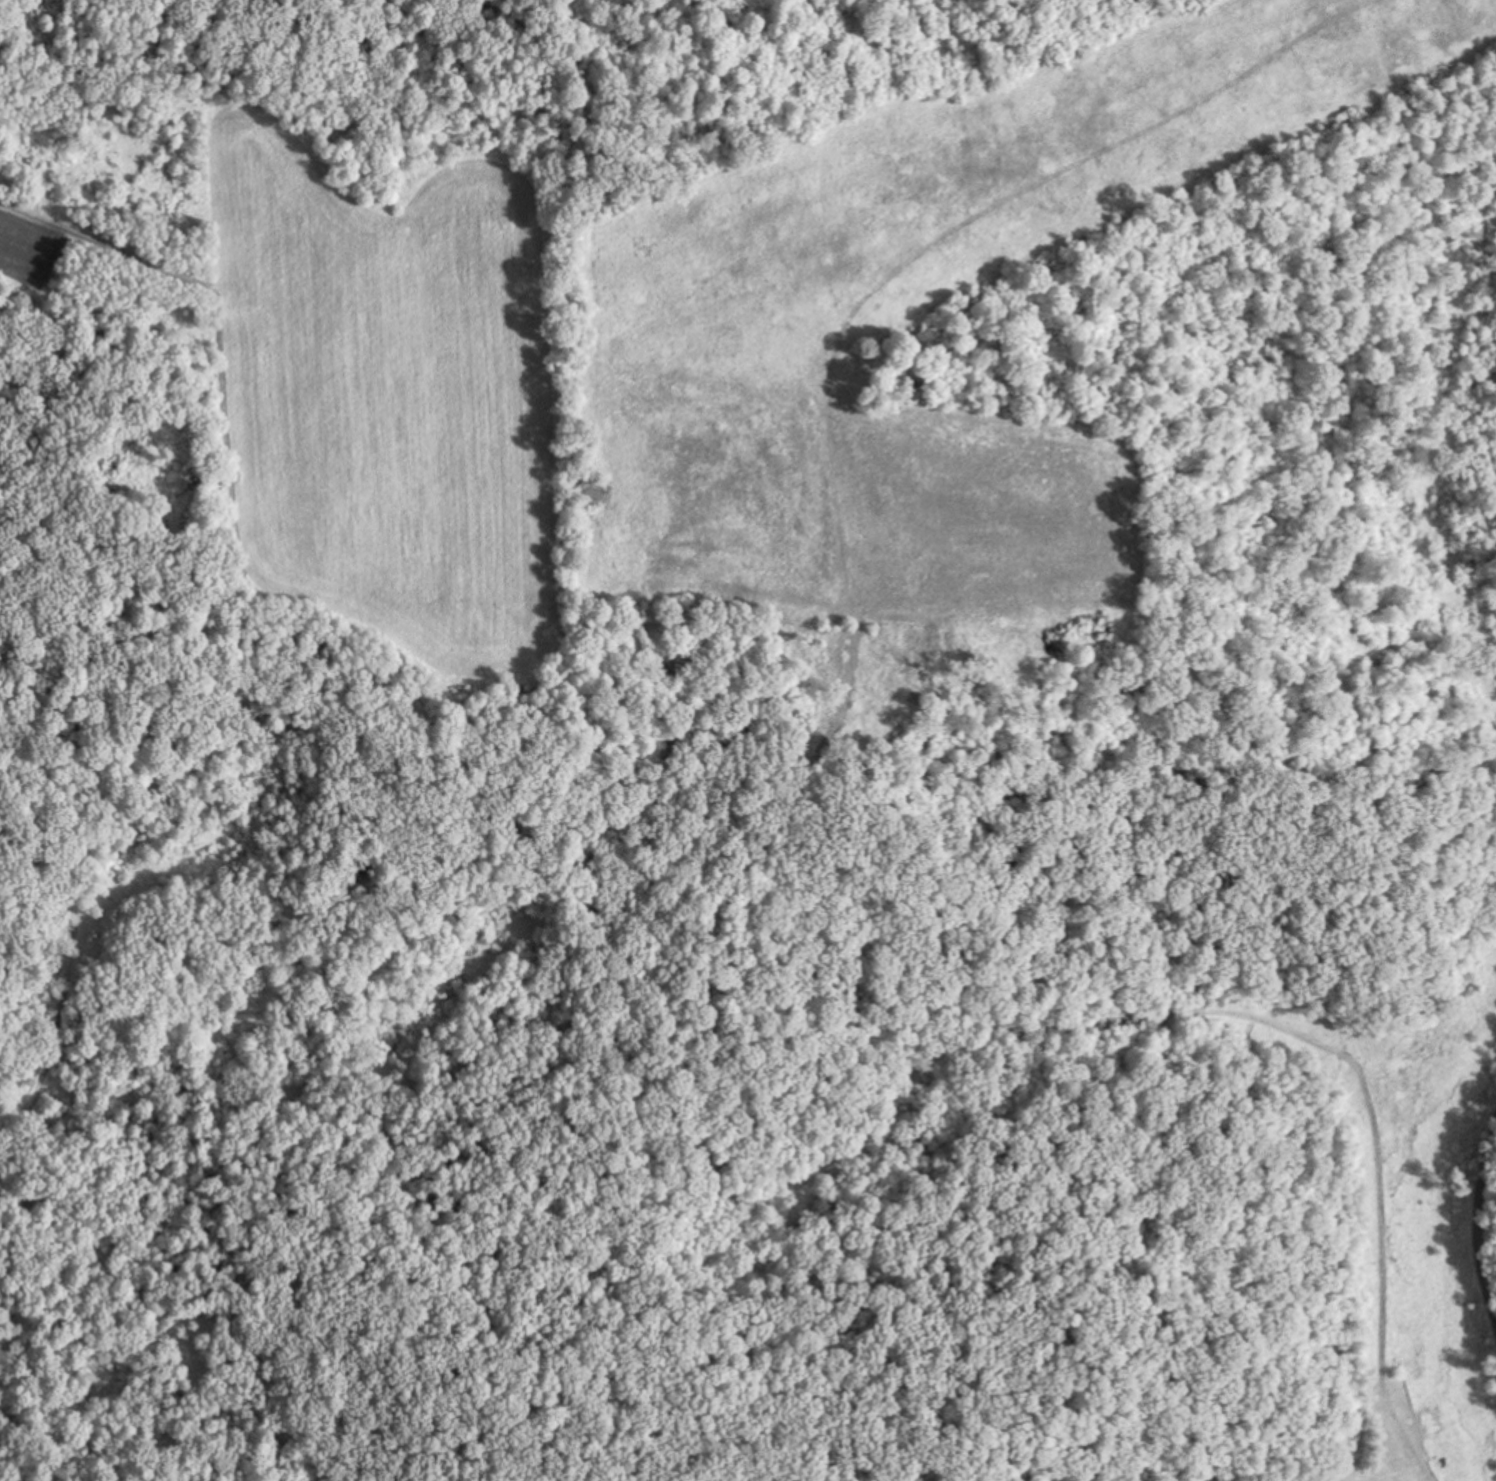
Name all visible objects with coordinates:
crop: (398, 406)
crop: (997, 527)

